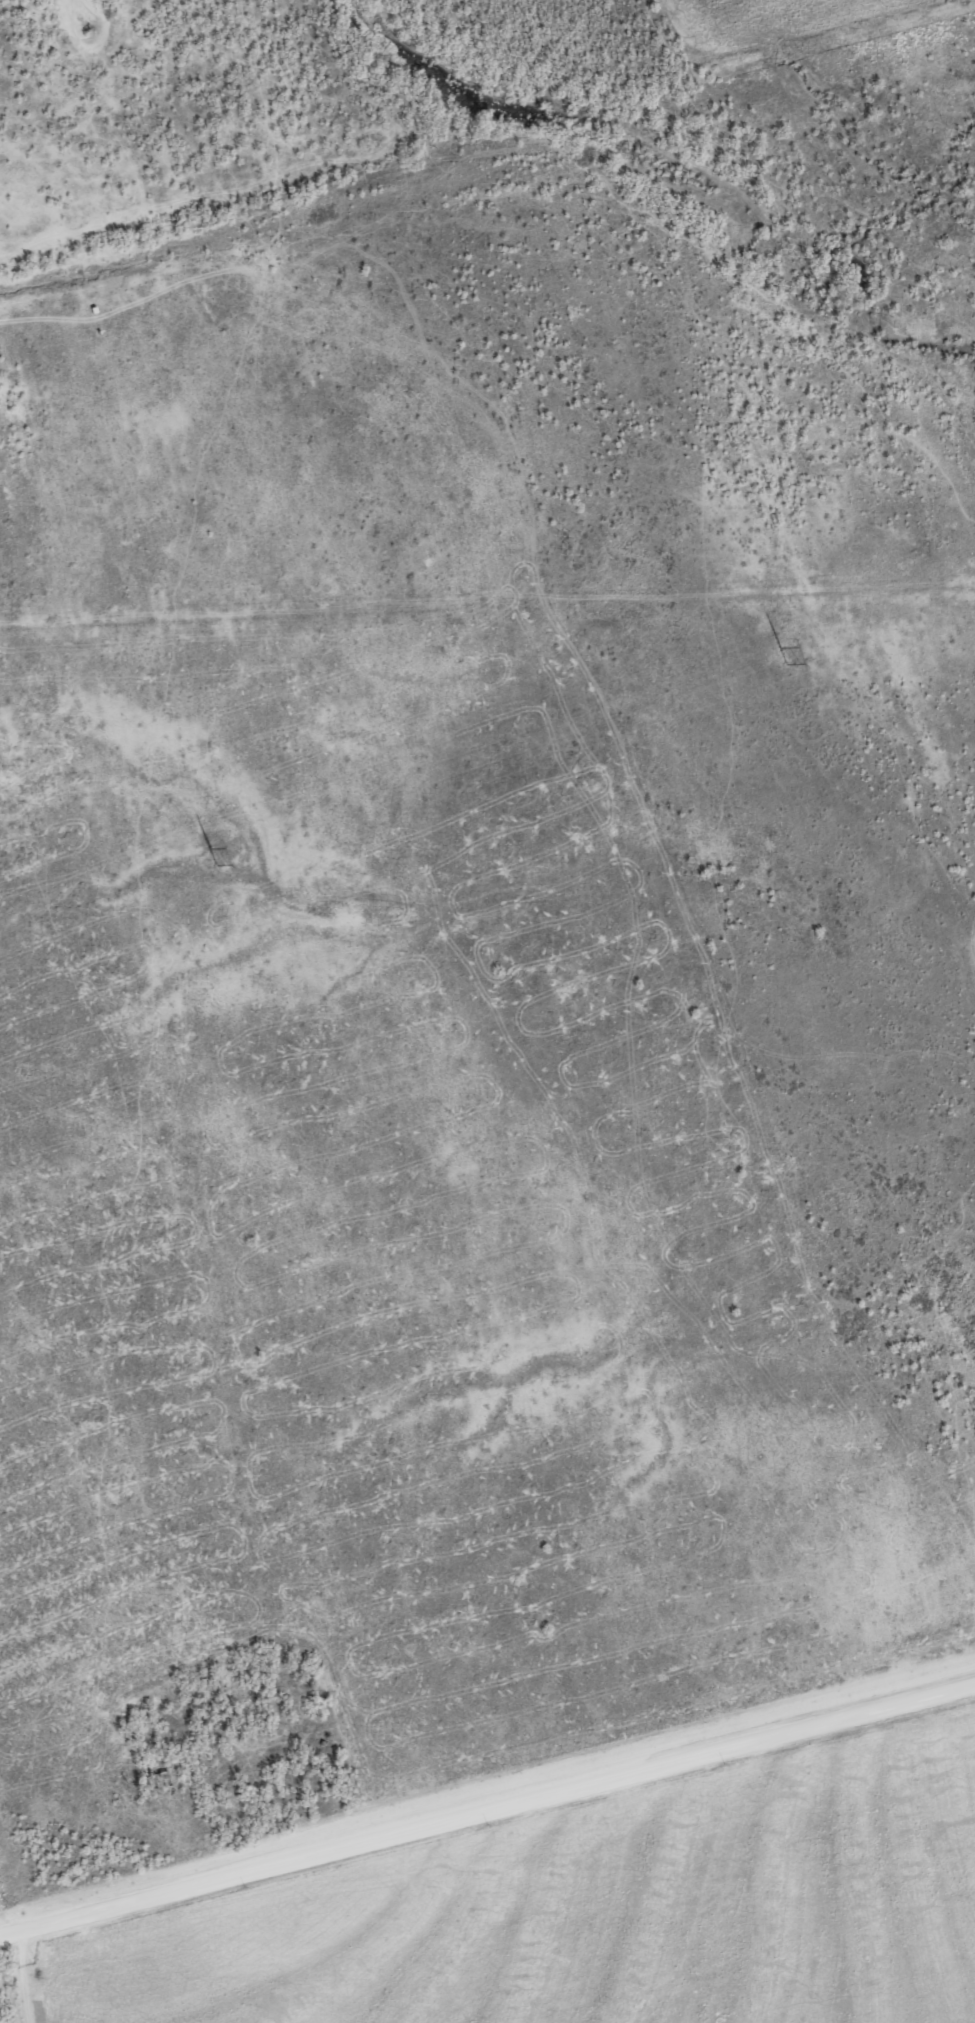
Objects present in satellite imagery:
power tower: (784, 656)
power tower: (215, 856)
road: (487, 1838)

